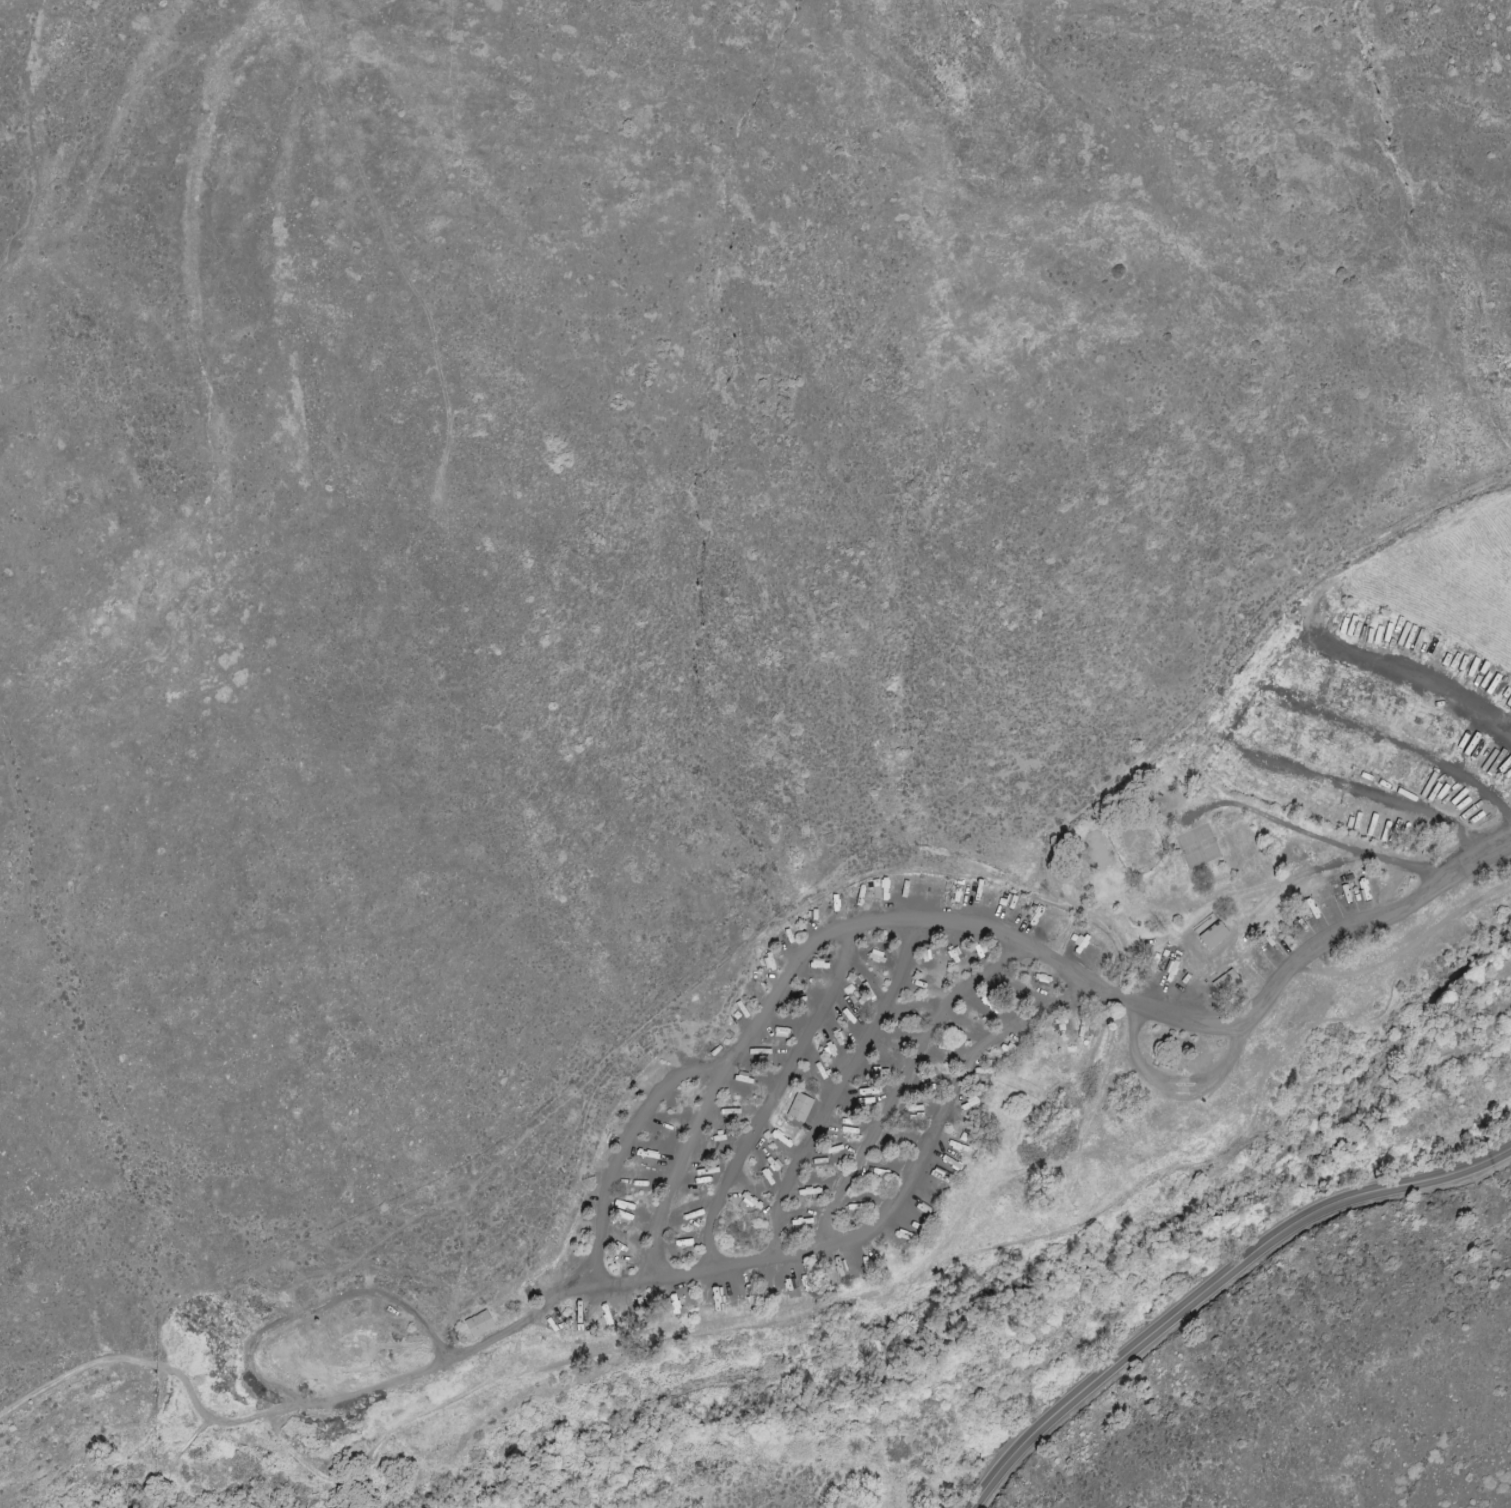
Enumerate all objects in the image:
road: (1251, 711)
road: (1393, 743)
road: (917, 925)
building: (1212, 935)
road: (903, 1085)
road: (836, 1090)
road: (772, 1098)
building: (799, 1108)
road: (676, 1176)
road: (884, 1225)
road: (1213, 1286)
building: (478, 1324)
road: (258, 1344)
road: (158, 1362)

